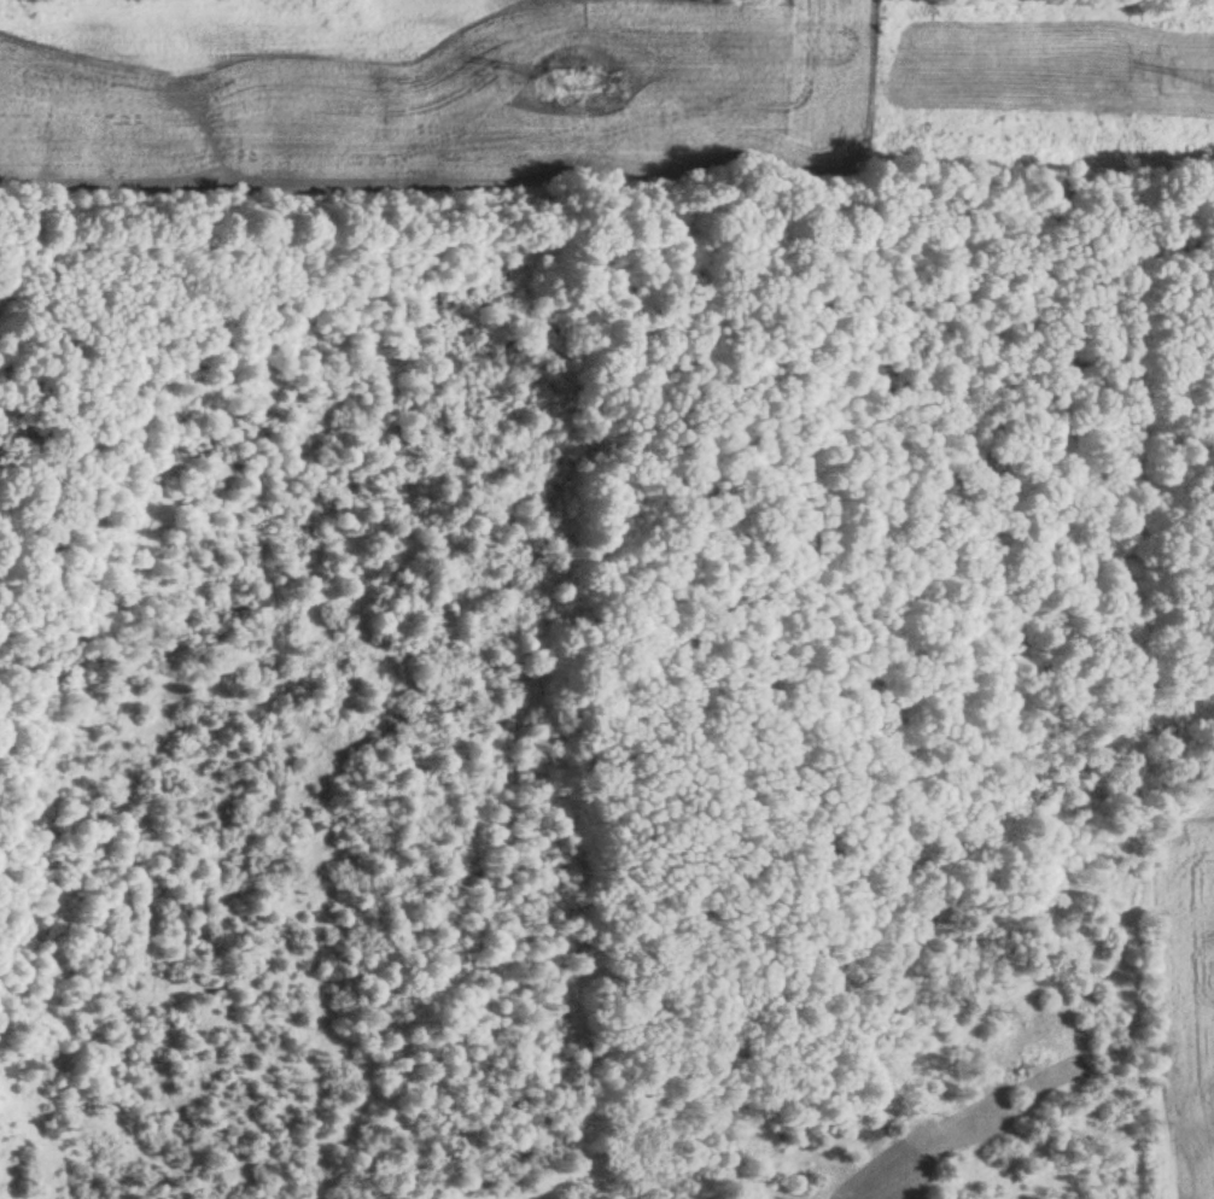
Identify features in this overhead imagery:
power tower: (580, 75)
crop: (1181, 1006)

